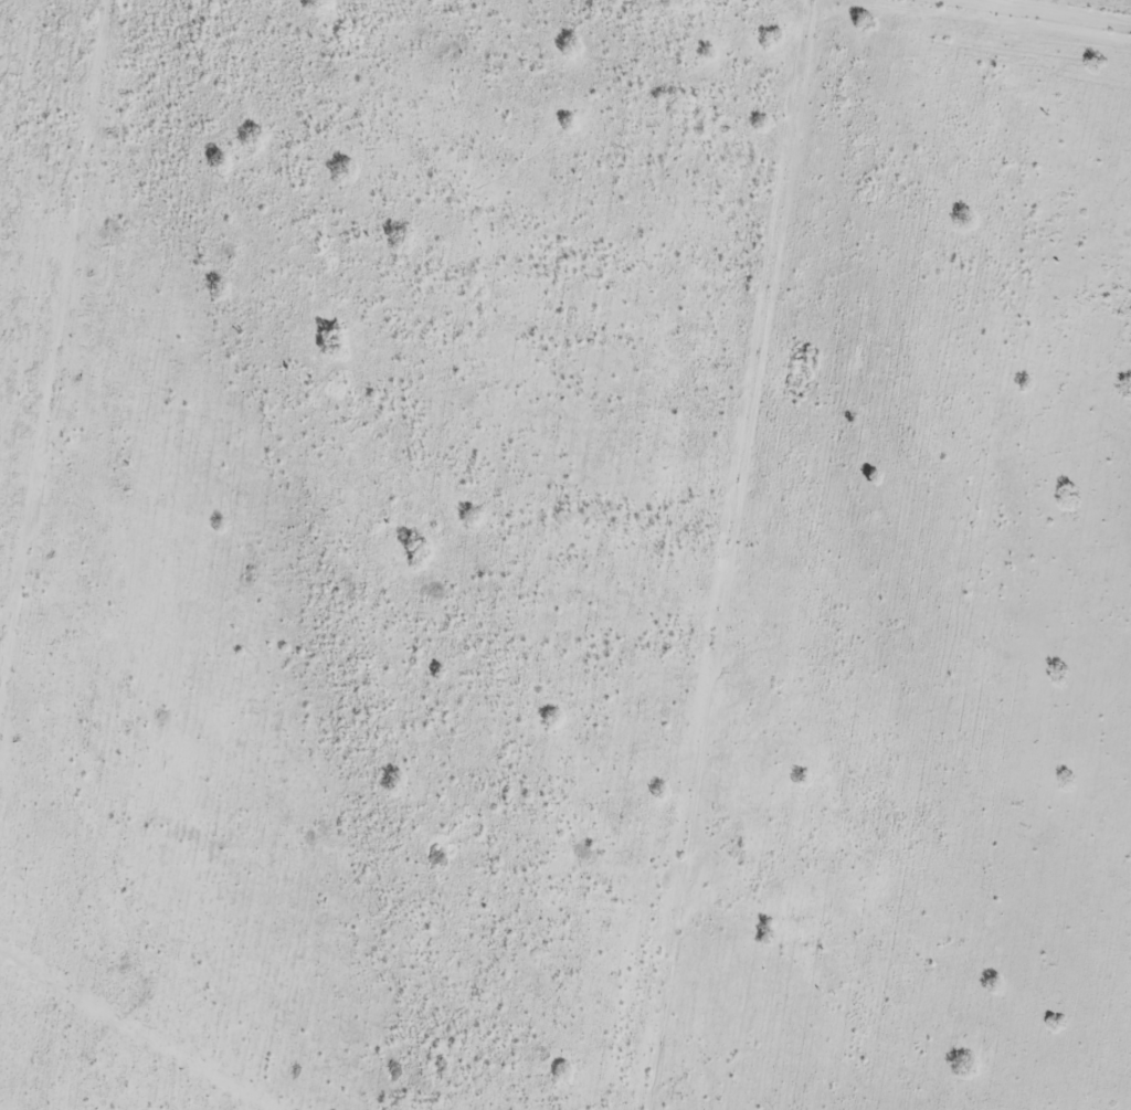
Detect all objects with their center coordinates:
road: (855, 976)

